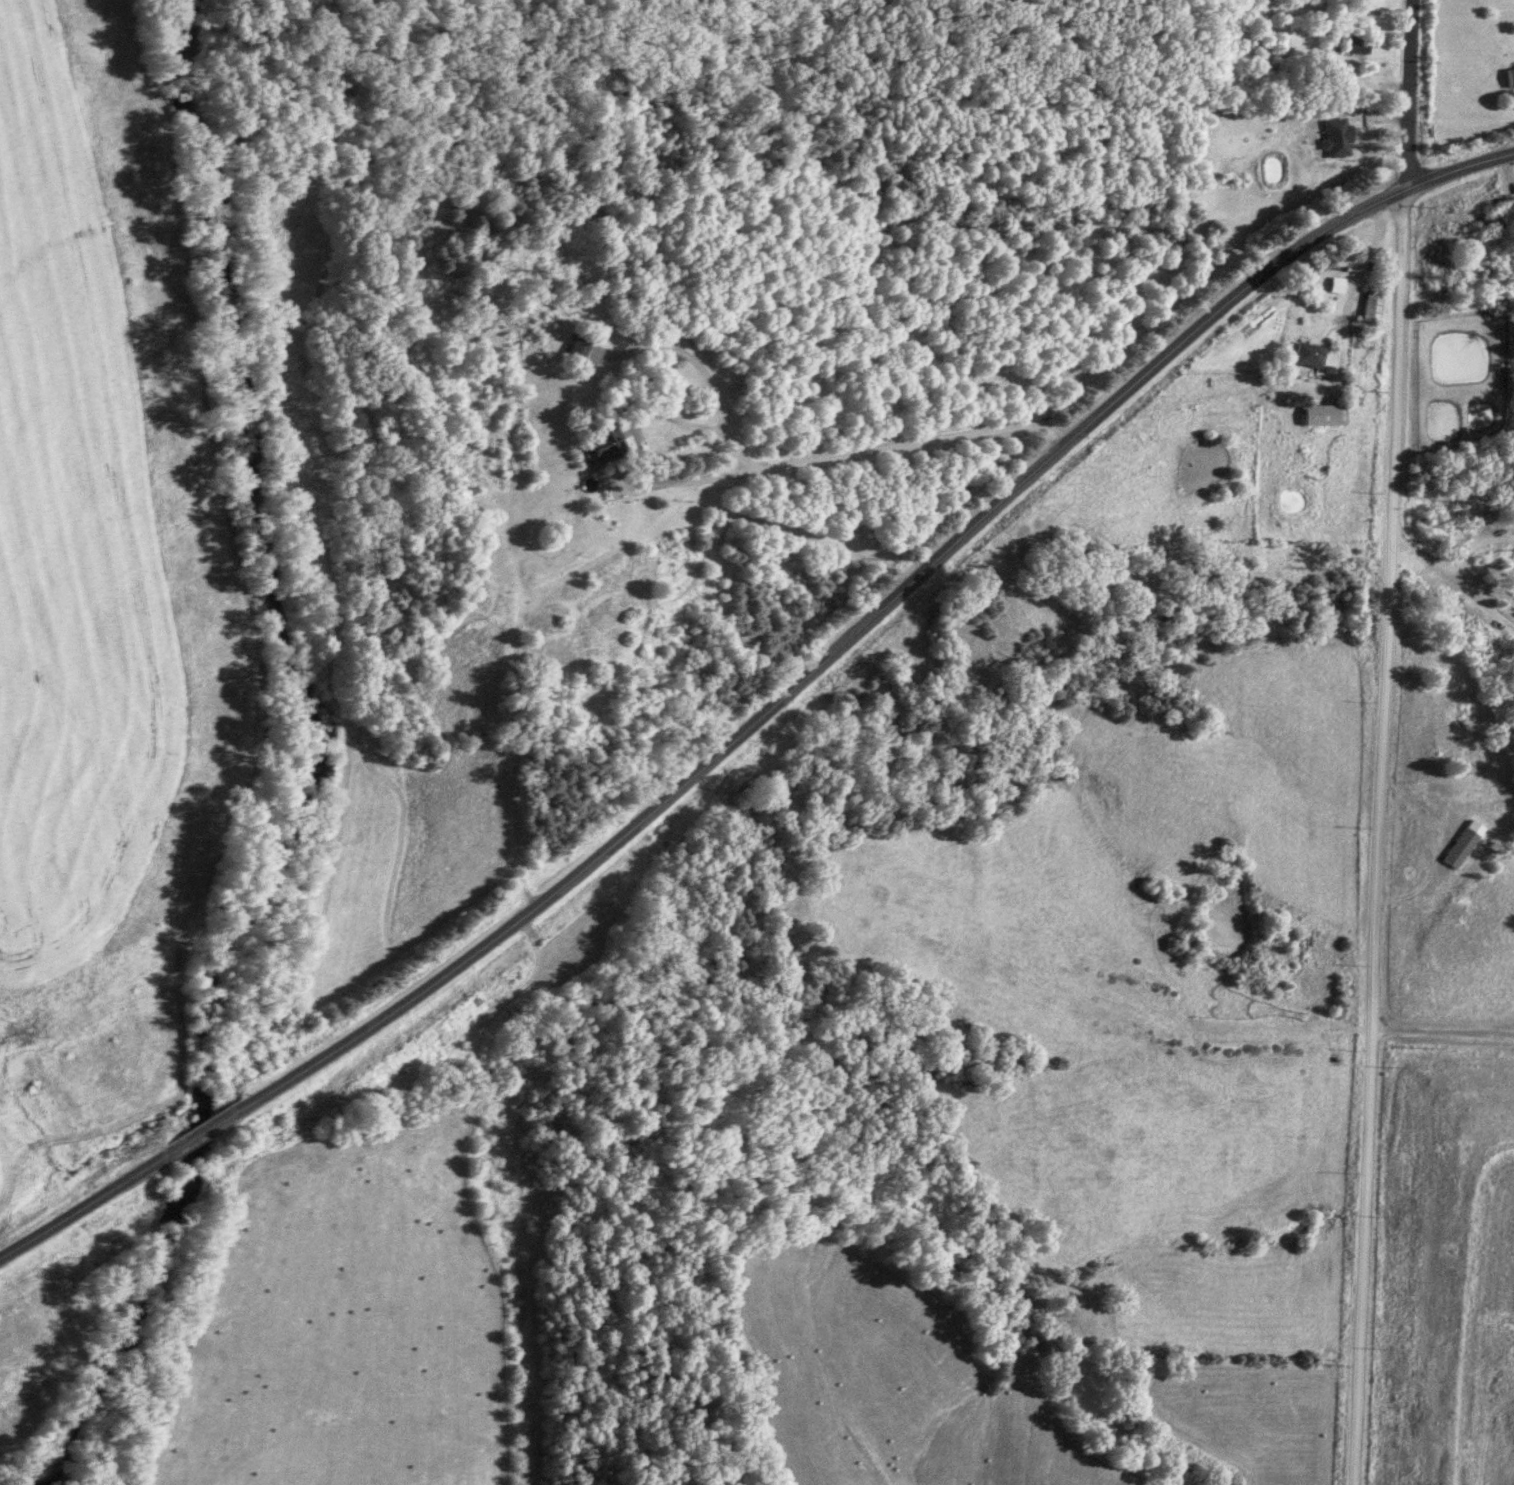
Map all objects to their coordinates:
building: (1350, 46)
building: (1507, 78)
building: (1334, 144)
building: (1489, 222)
building: (1368, 308)
road: (1352, 310)
building: (574, 347)
building: (1304, 357)
building: (1319, 416)
building: (597, 445)
road: (797, 471)
road: (707, 490)
building: (1512, 501)
road: (1458, 580)
road: (765, 718)
road: (1382, 742)
building: (1460, 846)
road: (1440, 1030)

